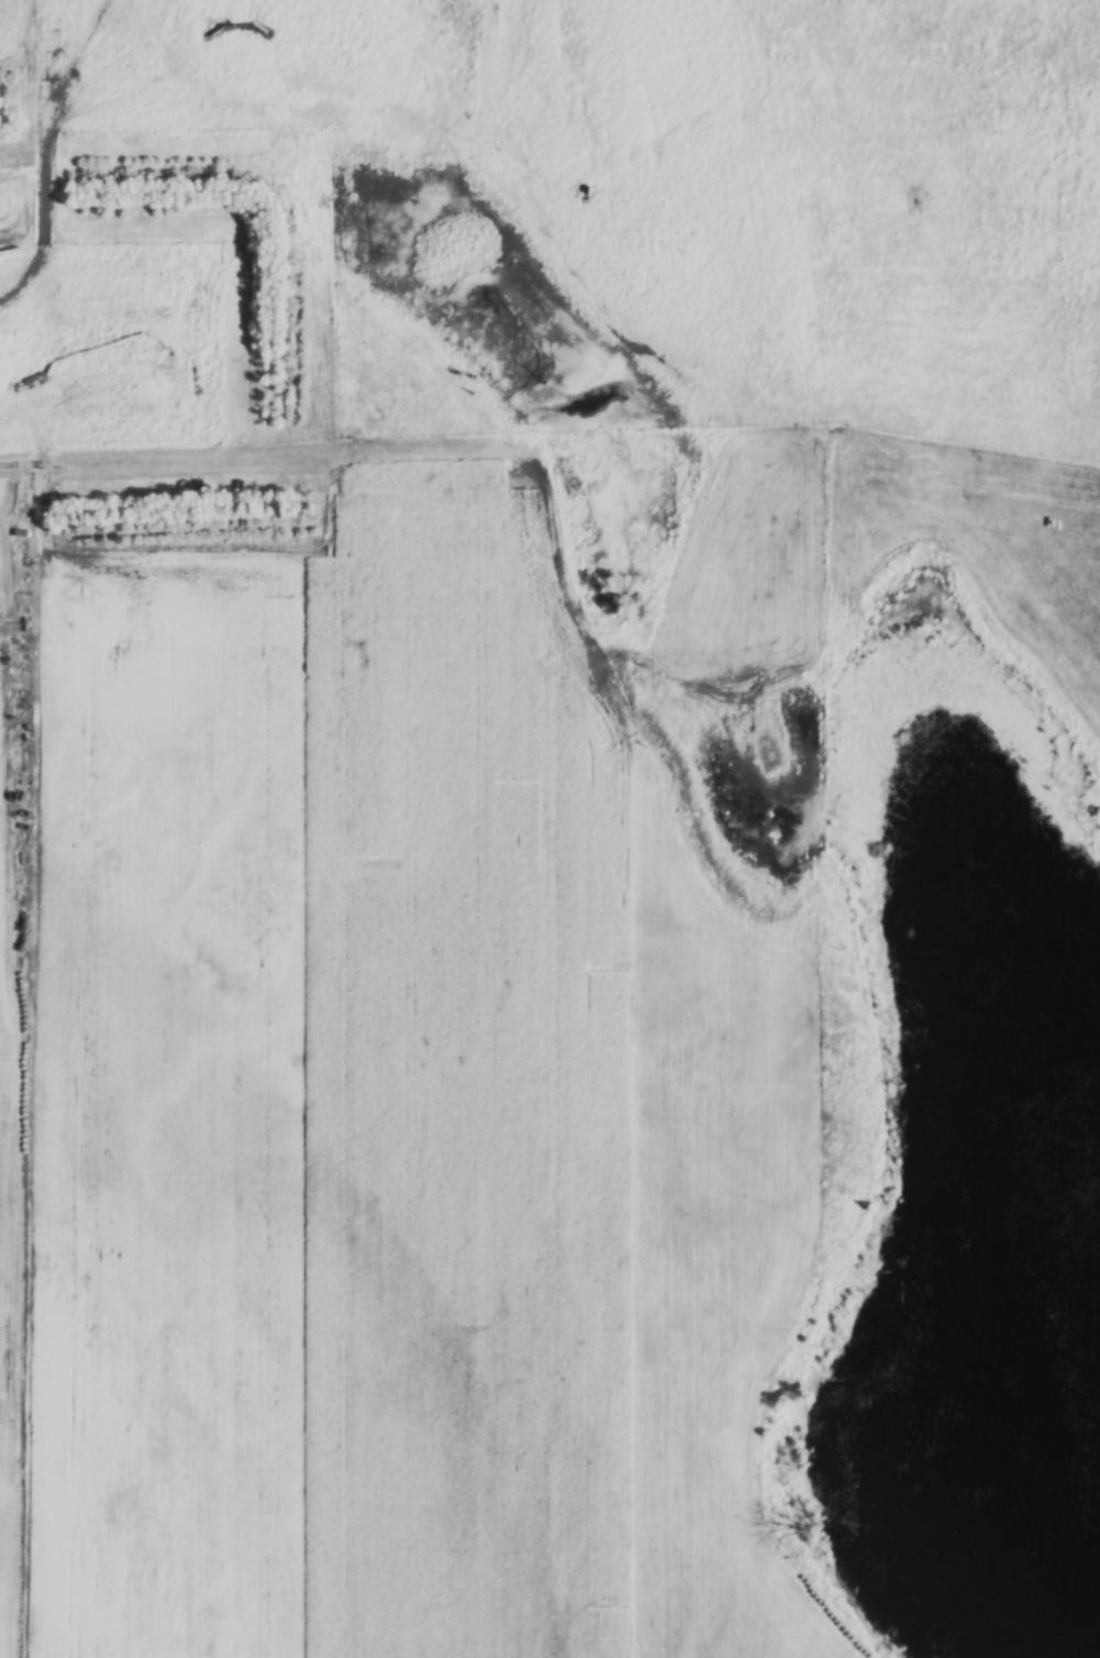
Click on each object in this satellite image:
road: (195, 460)
building: (400, 510)
building: (568, 1353)

